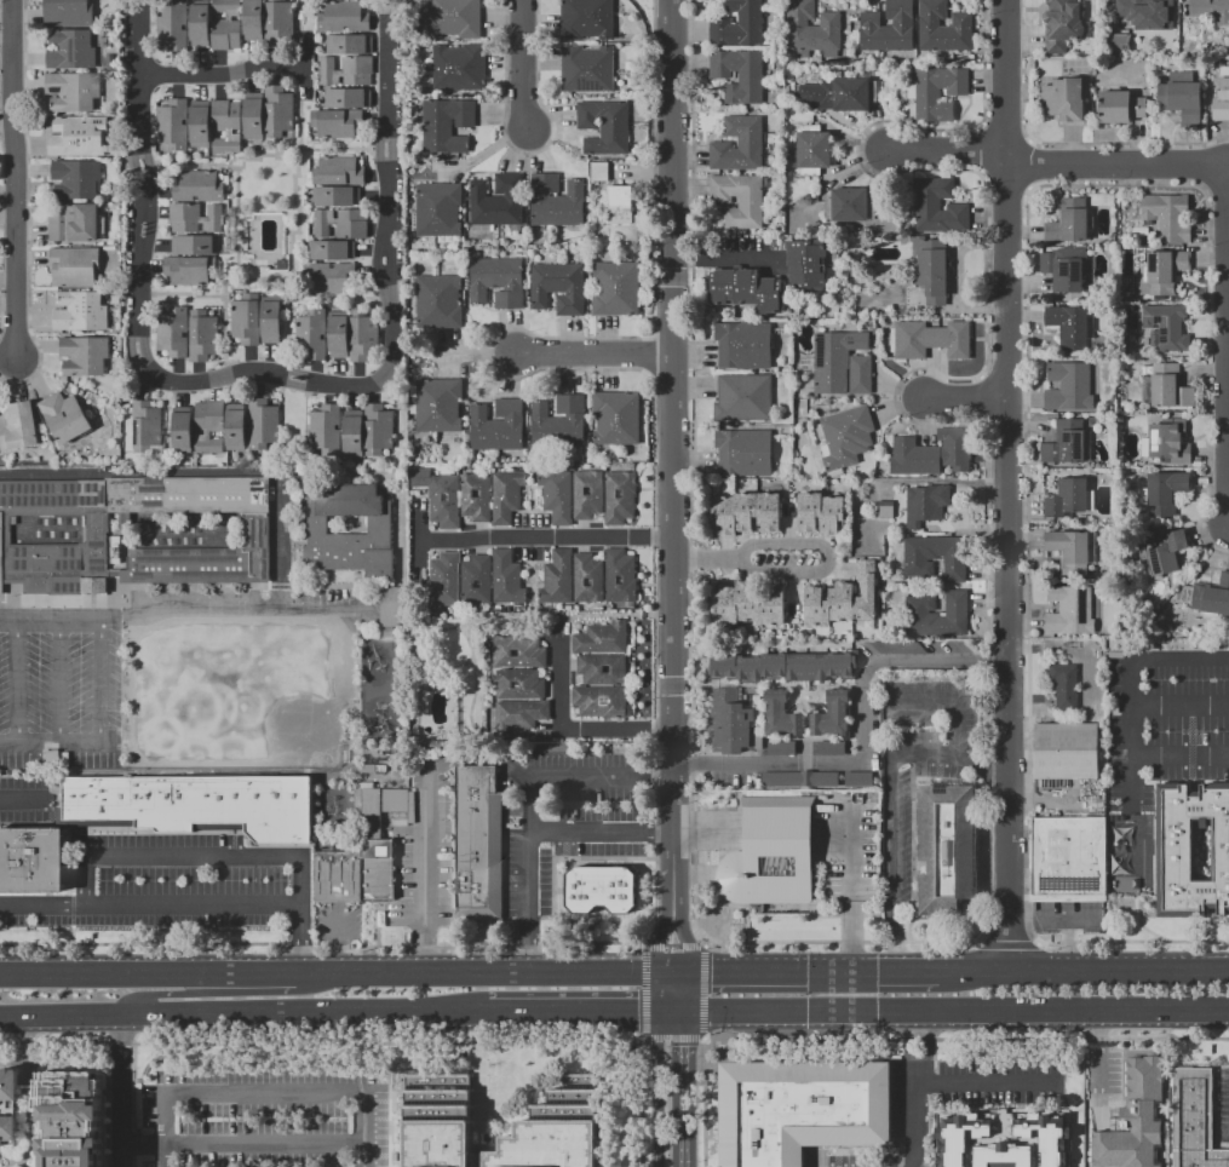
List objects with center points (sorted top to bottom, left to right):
building: (1124, 7)
building: (1211, 10)
building: (67, 12)
building: (1155, 13)
building: (343, 17)
building: (454, 18)
building: (253, 19)
building: (586, 19)
building: (278, 22)
building: (172, 24)
building: (200, 24)
building: (736, 24)
building: (1061, 24)
building: (226, 25)
building: (888, 28)
building: (943, 28)
building: (812, 29)
building: (1118, 42)
building: (348, 44)
building: (70, 50)
road: (385, 63)
building: (456, 67)
road: (527, 68)
building: (586, 68)
building: (346, 70)
road: (222, 73)
road: (139, 74)
building: (737, 74)
building: (71, 91)
building: (938, 92)
building: (838, 93)
building: (1222, 96)
building: (346, 97)
building: (1181, 98)
building: (1063, 99)
building: (1120, 107)
building: (278, 111)
building: (253, 117)
building: (334, 122)
building: (199, 125)
building: (226, 125)
building: (446, 125)
building: (172, 126)
building: (603, 126)
road: (300, 127)
building: (74, 136)
building: (737, 144)
road: (379, 146)
road: (390, 146)
road: (332, 149)
building: (812, 150)
road: (285, 154)
road: (947, 156)
road: (143, 162)
road: (243, 162)
road: (179, 163)
road: (1118, 163)
road: (136, 165)
road: (216, 165)
building: (598, 171)
building: (338, 172)
road: (15, 176)
building: (76, 178)
building: (197, 186)
building: (335, 195)
road: (144, 196)
building: (739, 199)
building: (496, 201)
building: (556, 201)
building: (620, 205)
building: (849, 205)
road: (385, 206)
building: (938, 206)
building: (438, 208)
road: (234, 211)
building: (1167, 215)
building: (195, 218)
building: (1068, 222)
building: (74, 223)
building: (341, 223)
road: (137, 228)
road: (145, 229)
road: (288, 232)
building: (194, 245)
building: (332, 249)
road: (292, 253)
road: (716, 258)
road: (378, 260)
road: (386, 260)
building: (280, 263)
building: (806, 264)
building: (74, 266)
road: (672, 269)
building: (189, 270)
building: (926, 270)
building: (1062, 271)
building: (1161, 272)
building: (327, 277)
road: (258, 278)
building: (498, 281)
road: (239, 282)
road: (139, 287)
building: (558, 287)
building: (616, 288)
building: (746, 288)
road: (189, 294)
road: (224, 300)
building: (438, 301)
building: (80, 311)
building: (245, 318)
building: (269, 320)
building: (1069, 326)
building: (1167, 326)
building: (172, 333)
building: (202, 334)
building: (311, 334)
building: (361, 334)
building: (338, 335)
building: (929, 339)
building: (742, 345)
road: (139, 349)
road: (131, 351)
road: (592, 352)
building: (84, 355)
road: (249, 357)
road: (390, 360)
building: (840, 363)
road: (177, 370)
road: (197, 370)
road: (295, 373)
road: (207, 379)
road: (293, 381)
road: (257, 384)
road: (142, 385)
building: (1067, 386)
building: (1168, 386)
road: (213, 389)
road: (234, 389)
road: (180, 395)
building: (742, 398)
road: (970, 403)
building: (438, 404)
building: (64, 416)
building: (616, 418)
building: (558, 421)
building: (263, 424)
building: (496, 425)
building: (18, 426)
building: (208, 426)
building: (235, 427)
building: (378, 429)
building: (147, 430)
building: (326, 430)
building: (182, 431)
building: (351, 435)
building: (845, 436)
building: (1167, 441)
building: (1066, 443)
building: (743, 452)
building: (932, 453)
road: (1010, 482)
building: (1165, 491)
building: (587, 494)
building: (440, 495)
building: (506, 495)
building: (556, 495)
building: (476, 496)
building: (619, 496)
building: (1066, 498)
building: (925, 504)
building: (885, 508)
building: (746, 512)
building: (820, 513)
building: (379, 525)
building: (132, 535)
road: (526, 540)
building: (1164, 547)
road: (282, 550)
building: (1069, 550)
building: (934, 556)
road: (420, 558)
road: (741, 558)
building: (619, 575)
building: (505, 577)
building: (556, 577)
building: (586, 577)
building: (443, 579)
building: (476, 580)
parking lot: (323, 596)
building: (1212, 596)
building: (842, 599)
road: (184, 603)
building: (748, 604)
building: (390, 607)
building: (1069, 611)
building: (937, 614)
building: (601, 638)
building: (900, 648)
building: (517, 651)
building: (783, 666)
building: (602, 668)
road: (17, 682)
road: (59, 682)
park: (75, 682)
road: (97, 682)
park: (234, 683)
building: (518, 683)
building: (1064, 685)
parking lot: (58, 688)
building: (601, 701)
road: (1179, 703)
building: (781, 714)
building: (831, 714)
building: (519, 715)
road: (674, 722)
building: (730, 722)
road: (567, 730)
road: (1131, 732)
road: (861, 734)
road: (48, 747)
building: (829, 747)
building: (781, 748)
building: (1067, 752)
parking lot: (1158, 754)
road: (1179, 755)
parking lot: (917, 764)
road: (894, 766)
road: (986, 770)
building: (799, 778)
building: (857, 780)
parking lot: (25, 799)
road: (529, 801)
building: (197, 803)
parking lot: (567, 818)
road: (602, 830)
road: (707, 830)
building: (475, 843)
parking lot: (846, 846)
building: (1193, 849)
building: (361, 851)
parking lot: (425, 851)
building: (943, 851)
building: (770, 853)
road: (194, 855)
building: (1067, 856)
building: (30, 858)
road: (426, 872)
road: (848, 879)
parking lot: (155, 886)
building: (599, 889)
road: (149, 903)
flagpole: (750, 907)
parking lot: (1069, 918)
parking lot: (339, 924)
road: (1055, 924)
road: (664, 938)
road: (673, 938)
road: (680, 938)
road: (300, 939)
road: (335, 944)
road: (1069, 944)
road: (673, 947)
road: (1080, 966)
road: (808, 968)
traffic signals: (848, 968)
traffic signals: (661, 971)
road: (667, 971)
road: (678, 971)
traffic signals: (684, 971)
road: (481, 973)
road: (99, 976)
road: (249, 976)
road: (643, 991)
road: (703, 991)
road: (161, 994)
road: (660, 994)
road: (683, 994)
road: (1073, 1013)
road: (242, 1016)
road: (800, 1016)
road: (573, 1017)
traffic signals: (660, 1017)
road: (671, 1017)
traffic signals: (683, 1017)
road: (673, 1037)
road: (321, 1044)
road: (29, 1047)
road: (38, 1060)
road: (987, 1082)
road: (919, 1090)
road: (124, 1091)
road: (660, 1092)
road: (682, 1092)
road: (264, 1093)
road: (643, 1102)
parking lot: (260, 1105)
road: (387, 1105)
road: (477, 1105)
building: (8, 1106)
building: (799, 1109)
building: (70, 1117)
building: (1133, 1119)
building: (1193, 1119)
building: (438, 1120)
building: (556, 1129)
building: (958, 1137)
building: (1046, 1137)
road: (265, 1139)
road: (145, 1148)
building: (1001, 1155)

